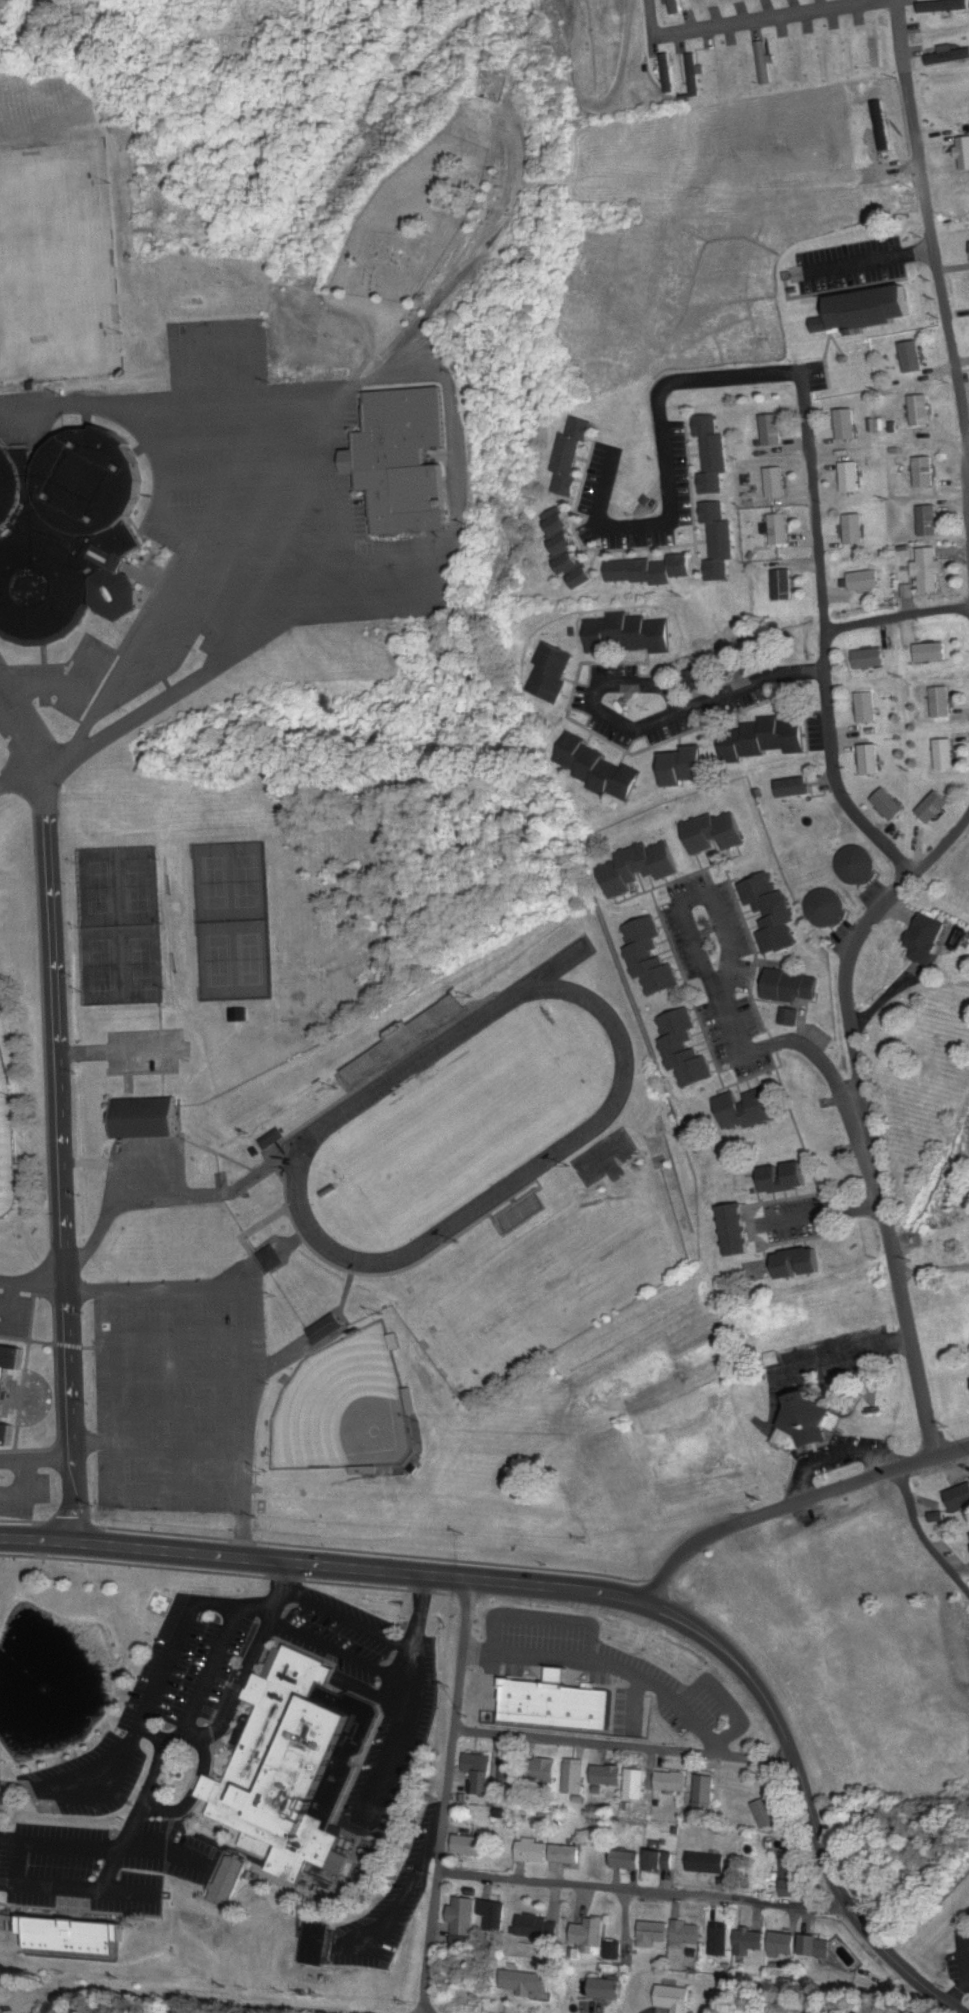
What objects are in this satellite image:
building: (944, 6)
building: (673, 7)
road: (769, 21)
road: (648, 27)
building: (873, 44)
building: (947, 57)
building: (763, 63)
building: (666, 73)
park: (411, 221)
road: (933, 248)
park: (49, 267)
road: (456, 283)
building: (869, 309)
road: (218, 340)
building: (912, 357)
road: (221, 379)
road: (222, 407)
building: (920, 411)
building: (846, 425)
building: (772, 430)
road: (243, 444)
building: (569, 455)
road: (670, 455)
building: (712, 455)
building: (404, 464)
building: (925, 472)
building: (850, 478)
building: (92, 481)
building: (775, 483)
road: (197, 485)
building: (10, 487)
road: (226, 489)
building: (34, 499)
building: (928, 521)
building: (779, 529)
building: (854, 530)
road: (200, 535)
building: (718, 541)
building: (568, 551)
road: (271, 564)
building: (930, 570)
building: (647, 571)
building: (864, 581)
road: (390, 585)
building: (784, 585)
road: (218, 590)
road: (897, 620)
road: (281, 625)
building: (629, 635)
road: (826, 639)
building: (930, 653)
building: (869, 659)
building: (551, 673)
road: (78, 693)
building: (940, 702)
building: (866, 708)
road: (31, 711)
road: (654, 722)
building: (764, 738)
road: (22, 743)
building: (944, 754)
building: (870, 760)
building: (686, 766)
road: (21, 778)
building: (604, 782)
building: (794, 788)
building: (891, 805)
building: (935, 808)
building: (714, 833)
building: (858, 865)
building: (639, 867)
building: (827, 909)
building: (769, 919)
park: (120, 926)
road: (692, 937)
building: (928, 938)
building: (646, 961)
track: (557, 969)
building: (791, 987)
building: (402, 1043)
road: (793, 1048)
road: (122, 1053)
building: (676, 1054)
building: (746, 1109)
road: (866, 1116)
building: (146, 1120)
track: (461, 1127)
park: (459, 1128)
park: (5, 1133)
stadium: (5, 1154)
road: (149, 1156)
road: (60, 1160)
building: (784, 1178)
road: (114, 1199)
building: (521, 1214)
building: (731, 1231)
building: (270, 1259)
building: (799, 1264)
road: (32, 1286)
road: (90, 1290)
road: (11, 1310)
road: (244, 1327)
building: (326, 1328)
road: (180, 1335)
building: (9, 1359)
road: (180, 1375)
park: (343, 1411)
road: (181, 1413)
building: (806, 1425)
building: (5, 1434)
road: (95, 1444)
road: (119, 1452)
road: (182, 1452)
road: (834, 1456)
road: (36, 1459)
road: (901, 1482)
road: (28, 1491)
building: (958, 1498)
road: (792, 1505)
road: (245, 1526)
road: (930, 1548)
road: (589, 1593)
building: (157, 1604)
helipad: (157, 1604)
road: (420, 1614)
road: (545, 1619)
road: (349, 1620)
road: (341, 1653)
road: (478, 1653)
road: (615, 1667)
road: (211, 1670)
road: (158, 1684)
fountain: (47, 1687)
road: (726, 1699)
road: (635, 1704)
road: (204, 1735)
road: (155, 1737)
road: (401, 1739)
road: (624, 1747)
road: (718, 1747)
building: (477, 1763)
building: (290, 1765)
building: (543, 1770)
building: (509, 1772)
building: (607, 1775)
building: (574, 1776)
building: (671, 1781)
building: (634, 1785)
building: (706, 1789)
road: (195, 1792)
road: (446, 1796)
building: (766, 1813)
road: (10, 1841)
building: (469, 1845)
road: (72, 1847)
road: (170, 1849)
building: (532, 1852)
building: (565, 1854)
building: (629, 1860)
building: (659, 1860)
building: (709, 1863)
building: (791, 1874)
building: (227, 1882)
road: (67, 1888)
road: (646, 1891)
road: (402, 1903)
building: (462, 1915)
building: (493, 1915)
building: (3, 1923)
building: (539, 1926)
building: (654, 1931)
building: (588, 1933)
building: (687, 1933)
building: (718, 1939)
building: (31, 1943)
building: (748, 1943)
building: (782, 1943)
building: (316, 1944)
building: (611, 1951)
road: (964, 1964)
building: (526, 1984)
building: (607, 1989)
road: (171, 1998)
building: (673, 1999)

